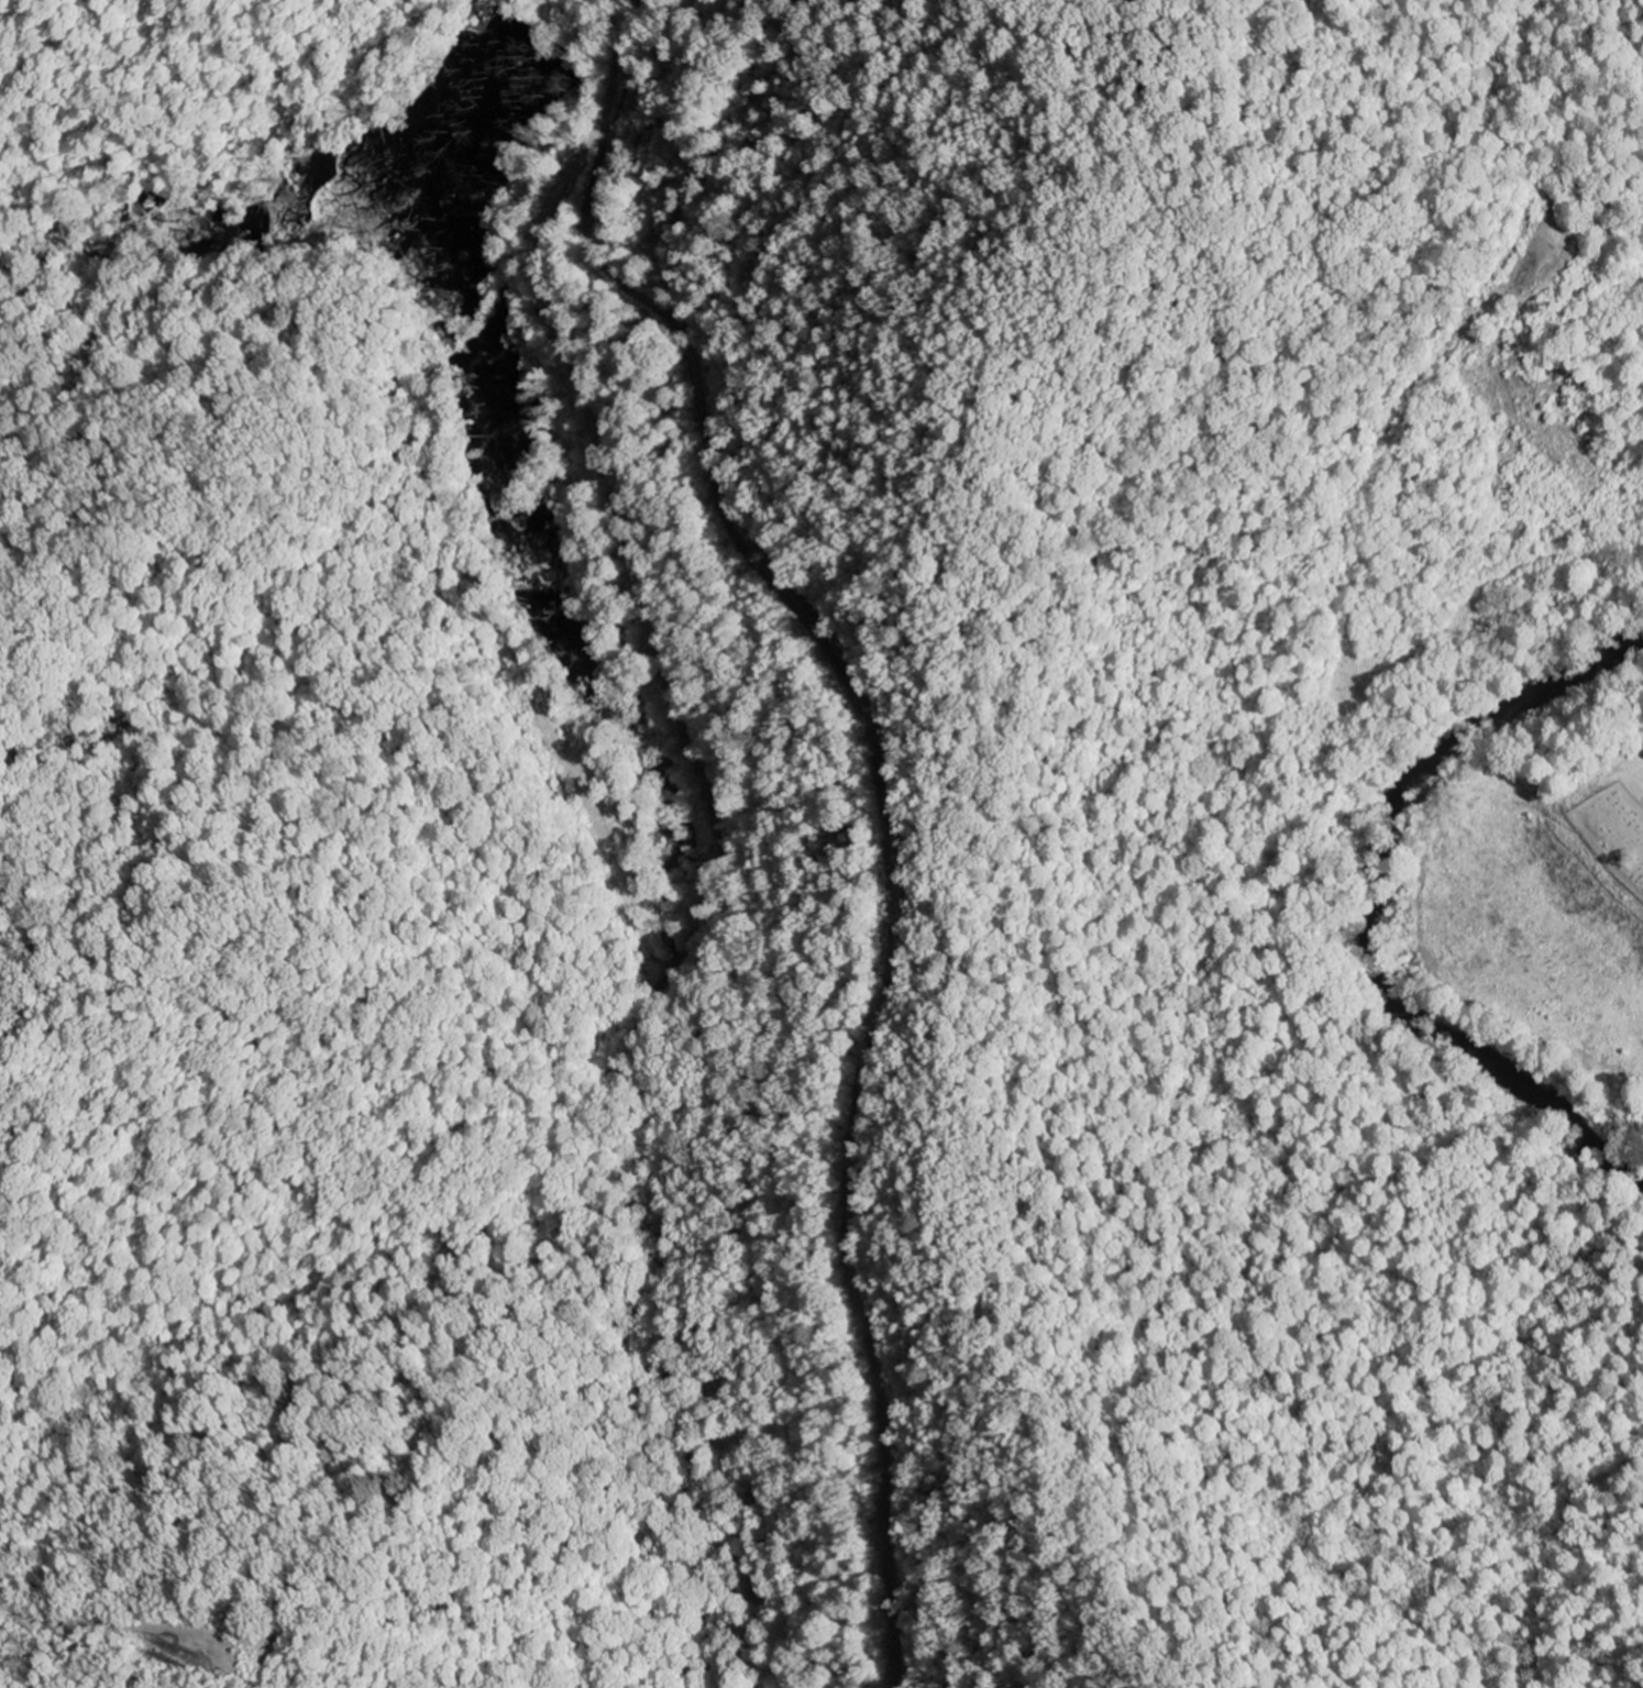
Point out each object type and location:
park: (1616, 828)

